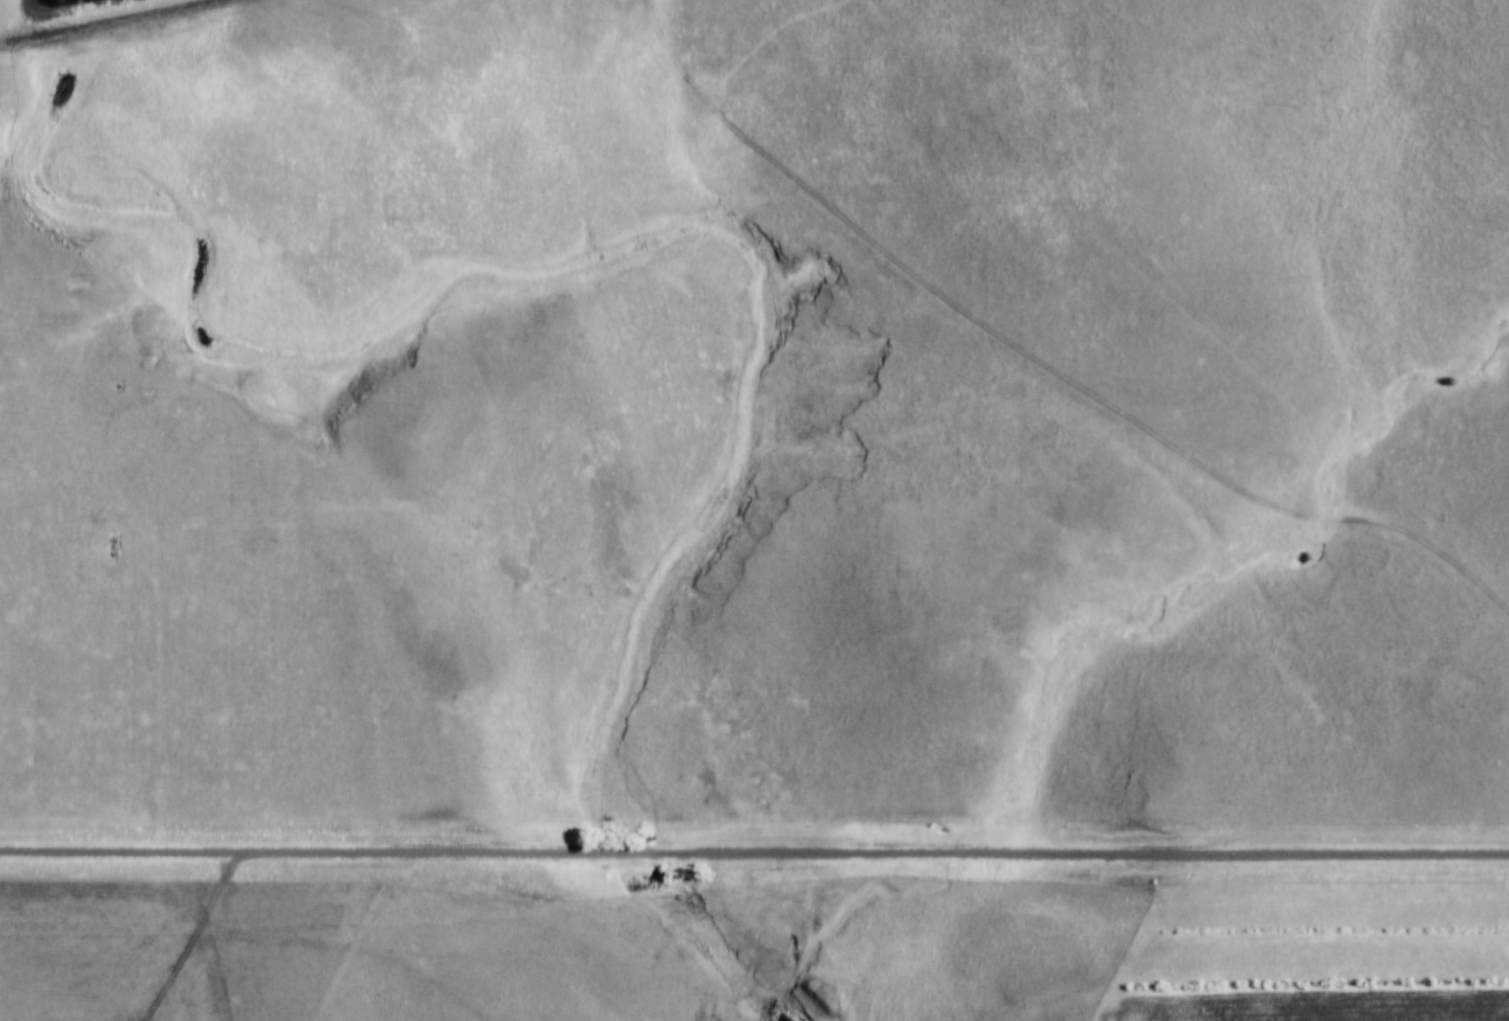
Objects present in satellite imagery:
dam: (79, 16)
road: (754, 856)

